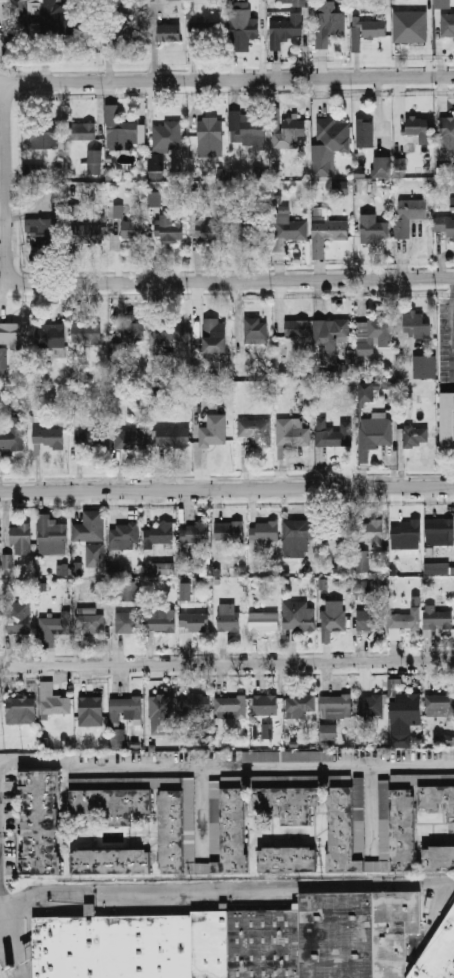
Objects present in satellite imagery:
building: (175, 0)
building: (293, 2)
building: (12, 4)
building: (443, 4)
building: (57, 18)
building: (244, 24)
building: (332, 24)
building: (410, 25)
building: (447, 25)
building: (117, 27)
building: (375, 29)
building: (286, 30)
building: (170, 32)
building: (205, 32)
building: (356, 35)
road: (250, 79)
building: (251, 129)
building: (418, 129)
building: (289, 130)
building: (80, 131)
building: (119, 131)
building: (210, 132)
building: (365, 132)
building: (447, 133)
building: (166, 134)
building: (45, 135)
building: (334, 135)
building: (94, 161)
building: (401, 164)
building: (155, 165)
building: (382, 166)
building: (321, 168)
building: (34, 170)
road: (7, 185)
building: (340, 188)
building: (154, 198)
building: (72, 211)
building: (118, 211)
building: (408, 215)
building: (253, 226)
building: (444, 226)
building: (289, 228)
building: (374, 229)
building: (48, 230)
building: (132, 230)
building: (169, 230)
building: (210, 232)
building: (87, 233)
building: (328, 234)
road: (251, 280)
road: (452, 314)
building: (416, 325)
building: (296, 328)
building: (132, 329)
building: (256, 330)
building: (169, 331)
building: (87, 332)
building: (330, 332)
building: (375, 332)
building: (11, 334)
building: (50, 335)
parking lot: (443, 335)
building: (216, 338)
building: (116, 351)
building: (3, 360)
building: (425, 367)
building: (338, 370)
building: (201, 390)
building: (367, 391)
building: (446, 421)
building: (214, 431)
building: (256, 432)
building: (292, 432)
building: (11, 433)
building: (334, 434)
building: (374, 435)
building: (173, 437)
building: (416, 437)
building: (48, 438)
building: (90, 438)
building: (130, 439)
road: (227, 489)
building: (440, 528)
building: (405, 530)
building: (264, 531)
building: (336, 531)
building: (373, 531)
building: (88, 532)
building: (228, 532)
building: (50, 533)
building: (195, 533)
building: (159, 534)
building: (123, 535)
building: (297, 537)
building: (21, 540)
building: (94, 555)
building: (7, 560)
building: (361, 561)
building: (205, 566)
building: (160, 568)
building: (436, 568)
building: (61, 569)
building: (77, 569)
building: (362, 587)
building: (129, 591)
building: (229, 617)
building: (299, 617)
building: (438, 618)
building: (368, 620)
building: (90, 621)
building: (160, 621)
building: (263, 621)
building: (128, 622)
building: (20, 623)
building: (191, 623)
building: (332, 623)
building: (401, 623)
building: (53, 628)
road: (235, 664)
building: (54, 700)
building: (198, 703)
building: (266, 704)
building: (301, 704)
building: (370, 704)
building: (440, 704)
building: (230, 705)
building: (19, 708)
building: (126, 708)
building: (91, 711)
building: (160, 712)
building: (333, 713)
building: (404, 713)
building: (266, 730)
building: (118, 738)
building: (442, 739)
building: (307, 755)
building: (260, 756)
road: (223, 769)
building: (410, 779)
building: (437, 798)
building: (288, 802)
building: (108, 805)
road: (369, 807)
building: (40, 822)
building: (341, 830)
building: (403, 830)
building: (170, 832)
building: (233, 832)
building: (439, 858)
building: (287, 859)
building: (111, 861)
road: (227, 891)
road: (1, 902)
road: (5, 909)
building: (355, 935)
building: (246, 943)
building: (114, 947)
building: (438, 954)

